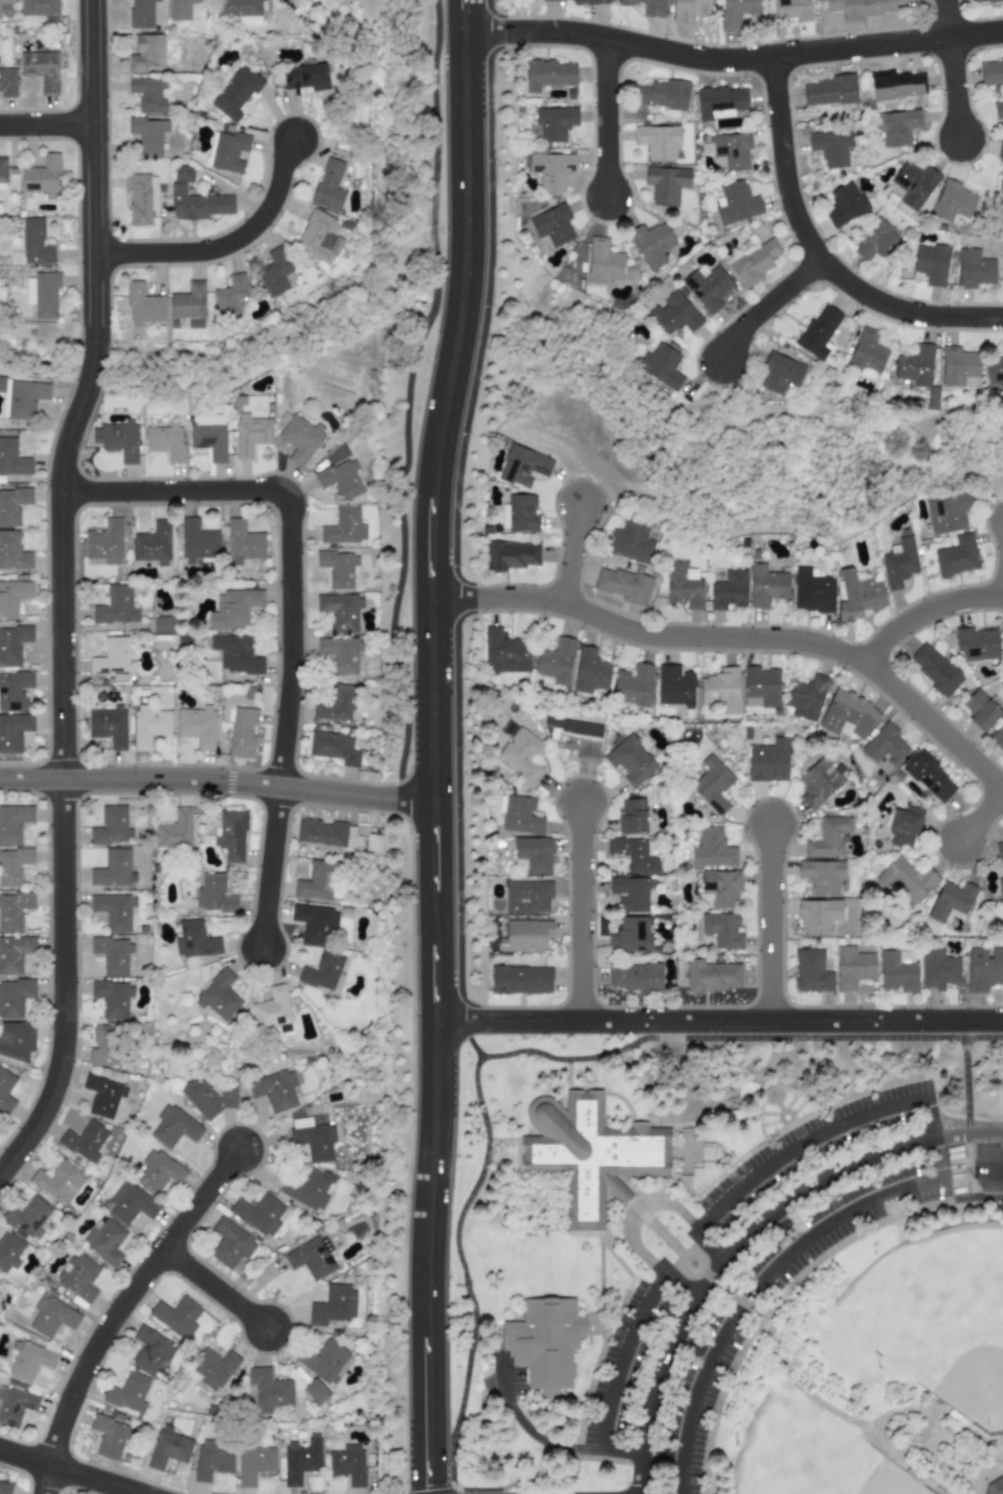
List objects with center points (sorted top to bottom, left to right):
building: (289, 0)
building: (552, 0)
building: (7, 1)
building: (981, 1)
building: (589, 2)
building: (1002, 2)
building: (38, 7)
building: (647, 7)
building: (860, 8)
building: (185, 9)
building: (239, 10)
building: (688, 10)
building: (792, 10)
building: (737, 12)
building: (140, 13)
road: (466, 27)
building: (146, 52)
road: (733, 60)
building: (41, 69)
road: (956, 69)
building: (991, 70)
building: (548, 74)
building: (305, 76)
building: (7, 82)
building: (896, 84)
building: (830, 90)
building: (236, 92)
building: (148, 93)
building: (662, 94)
building: (720, 101)
building: (998, 109)
road: (609, 120)
building: (553, 124)
road: (46, 125)
building: (896, 126)
building: (148, 133)
building: (657, 140)
building: (829, 148)
building: (1000, 150)
building: (226, 151)
building: (731, 151)
building: (551, 170)
building: (2, 173)
building: (183, 174)
building: (42, 177)
road: (93, 183)
building: (666, 184)
building: (914, 184)
building: (328, 185)
building: (141, 198)
building: (952, 201)
building: (736, 203)
building: (844, 203)
building: (199, 204)
building: (552, 225)
building: (318, 237)
building: (878, 240)
building: (35, 242)
building: (651, 243)
road: (225, 246)
road: (819, 254)
building: (16, 258)
building: (602, 262)
building: (754, 262)
building: (931, 263)
building: (973, 269)
building: (275, 273)
building: (707, 286)
building: (43, 294)
building: (230, 295)
building: (189, 304)
road: (770, 304)
building: (142, 305)
building: (674, 313)
road: (41, 329)
building: (818, 331)
road: (238, 337)
building: (1002, 348)
building: (867, 352)
building: (661, 365)
building: (957, 365)
building: (915, 366)
building: (994, 370)
building: (780, 373)
building: (21, 397)
building: (250, 434)
building: (208, 435)
building: (300, 438)
building: (118, 439)
building: (165, 440)
building: (12, 458)
building: (523, 466)
building: (340, 478)
building: (12, 505)
building: (947, 512)
building: (519, 514)
building: (344, 526)
road: (707, 526)
building: (631, 540)
building: (198, 541)
building: (243, 542)
building: (105, 543)
building: (152, 543)
building: (13, 551)
road: (574, 554)
building: (510, 555)
building: (957, 556)
building: (898, 562)
building: (337, 568)
building: (683, 584)
building: (624, 585)
building: (766, 585)
building: (729, 590)
building: (812, 591)
building: (858, 594)
building: (12, 597)
building: (115, 606)
building: (233, 608)
building: (340, 611)
road: (930, 613)
road: (295, 616)
building: (161, 624)
road: (742, 640)
building: (13, 643)
building: (976, 643)
building: (505, 652)
building: (340, 653)
building: (235, 654)
building: (1002, 654)
building: (112, 657)
building: (556, 661)
building: (934, 668)
building: (590, 672)
building: (633, 685)
building: (674, 686)
building: (760, 687)
building: (721, 689)
building: (14, 690)
building: (806, 697)
building: (336, 704)
building: (981, 709)
building: (848, 715)
building: (108, 726)
building: (148, 726)
building: (197, 726)
building: (508, 729)
building: (13, 731)
building: (242, 732)
building: (998, 736)
building: (575, 737)
building: (885, 745)
building: (333, 747)
building: (523, 756)
building: (630, 760)
building: (768, 761)
road: (435, 773)
road: (66, 775)
building: (930, 777)
building: (818, 783)
road: (218, 784)
building: (712, 785)
building: (520, 815)
building: (631, 816)
road: (982, 818)
building: (13, 822)
building: (111, 826)
building: (904, 827)
building: (174, 830)
building: (325, 833)
building: (231, 835)
building: (828, 838)
building: (712, 849)
building: (999, 850)
building: (534, 855)
building: (633, 855)
building: (13, 865)
building: (114, 869)
building: (822, 876)
building: (906, 879)
building: (316, 881)
building: (1000, 886)
building: (722, 888)
building: (631, 893)
building: (213, 894)
building: (527, 896)
building: (951, 900)
building: (13, 910)
building: (113, 910)
road: (579, 911)
building: (819, 916)
road: (769, 922)
building: (315, 924)
building: (722, 930)
building: (525, 934)
building: (630, 936)
building: (194, 939)
building: (14, 953)
building: (113, 955)
building: (853, 967)
building: (938, 968)
building: (984, 969)
building: (322, 971)
building: (811, 971)
building: (898, 971)
building: (711, 976)
building: (634, 977)
building: (520, 980)
building: (219, 995)
building: (14, 997)
building: (112, 998)
building: (272, 1010)
road: (719, 1021)
road: (462, 1035)
road: (739, 1038)
building: (16, 1040)
building: (107, 1049)
building: (275, 1090)
building: (5, 1091)
building: (103, 1095)
building: (207, 1098)
road: (952, 1114)
road: (969, 1117)
building: (173, 1127)
road: (819, 1128)
building: (312, 1139)
building: (83, 1140)
building: (593, 1152)
building: (158, 1170)
building: (58, 1181)
building: (309, 1189)
road: (989, 1198)
building: (128, 1203)
road: (684, 1208)
building: (259, 1214)
building: (27, 1216)
road: (758, 1219)
road: (660, 1233)
building: (105, 1240)
building: (229, 1244)
road: (709, 1246)
building: (9, 1250)
road: (683, 1255)
building: (311, 1257)
parking lot: (767, 1264)
park: (729, 1266)
road: (466, 1272)
road: (773, 1274)
building: (78, 1276)
road: (220, 1289)
road: (785, 1294)
road: (731, 1295)
building: (332, 1304)
road: (121, 1310)
building: (177, 1315)
park: (930, 1315)
building: (51, 1316)
building: (550, 1344)
road: (610, 1352)
building: (29, 1360)
building: (325, 1361)
building: (215, 1368)
building: (268, 1390)
building: (315, 1390)
building: (128, 1392)
building: (15, 1405)
road: (873, 1428)
building: (108, 1436)
road: (521, 1437)
building: (168, 1448)
park: (807, 1453)
road: (960, 1454)
building: (212, 1458)
building: (301, 1459)
building: (253, 1464)
building: (346, 1464)
road: (947, 1467)
road: (70, 1471)
road: (641, 1472)
road: (980, 1473)
road: (545, 1481)
traffic signals: (430, 1485)
building: (995, 1487)
building: (5, 1488)
road: (971, 1493)

